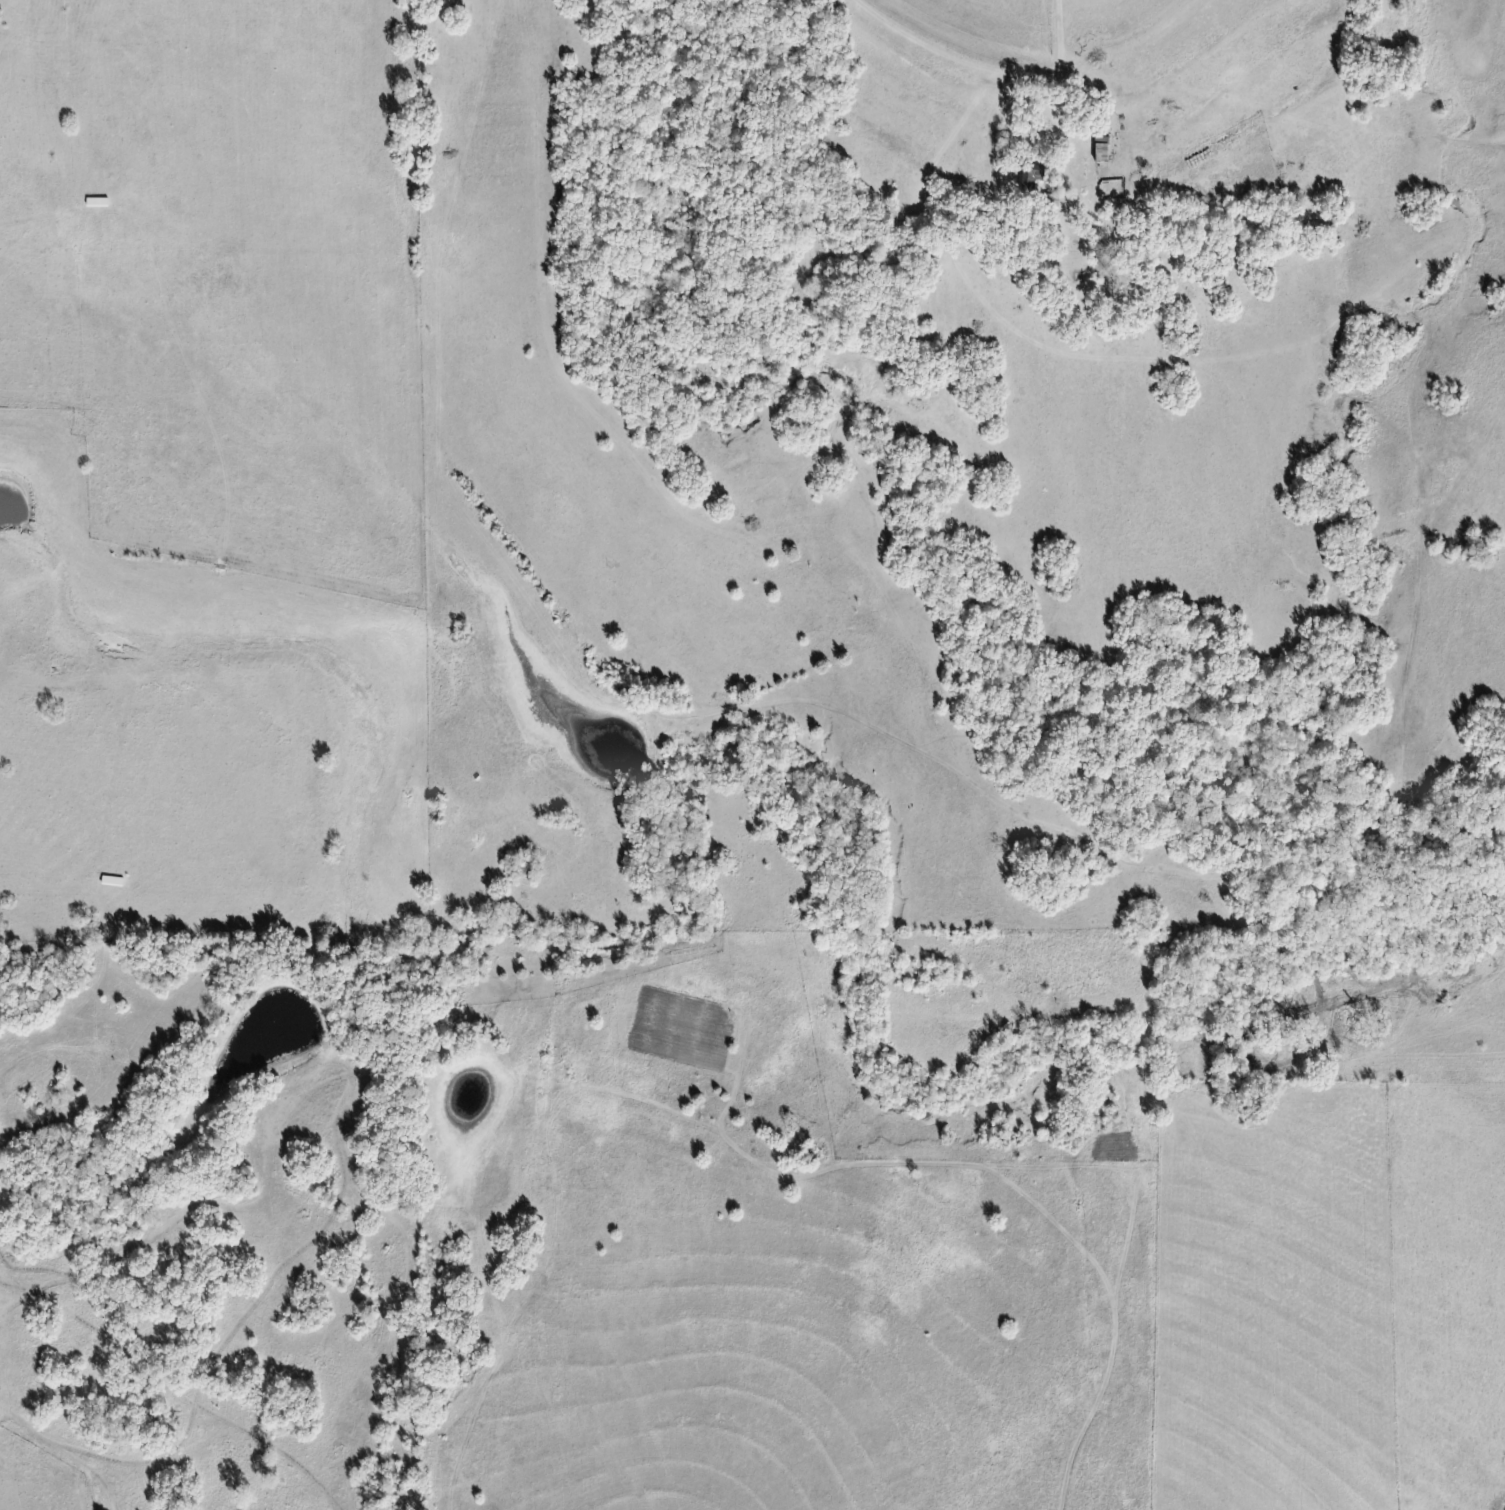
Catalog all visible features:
road: (1055, 62)

